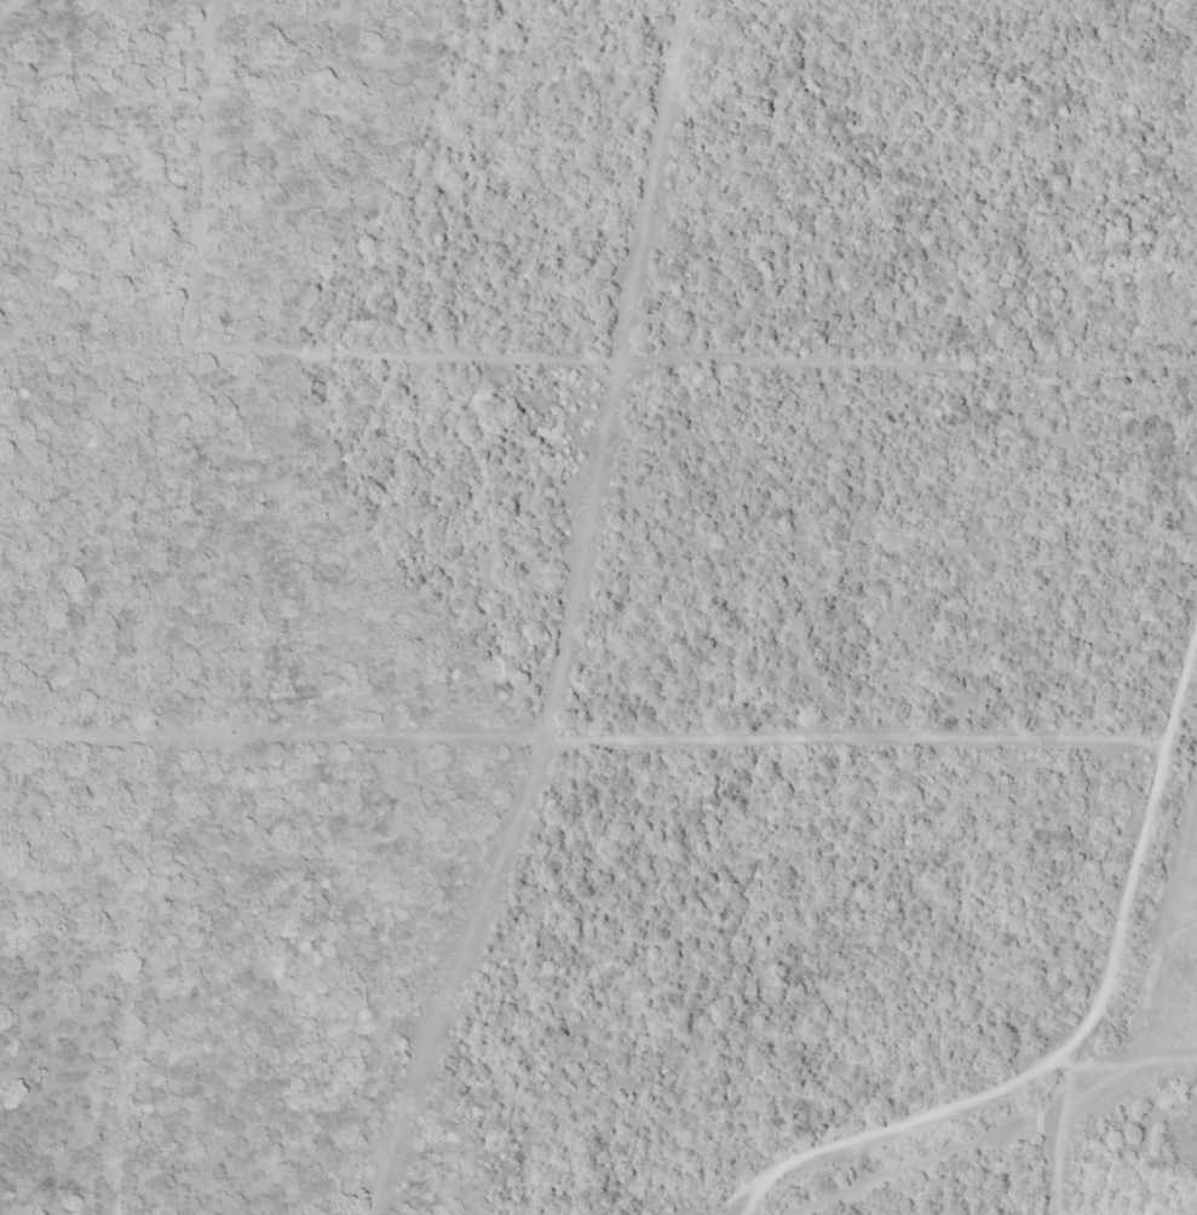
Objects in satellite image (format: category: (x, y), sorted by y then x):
road: (1087, 1020)

